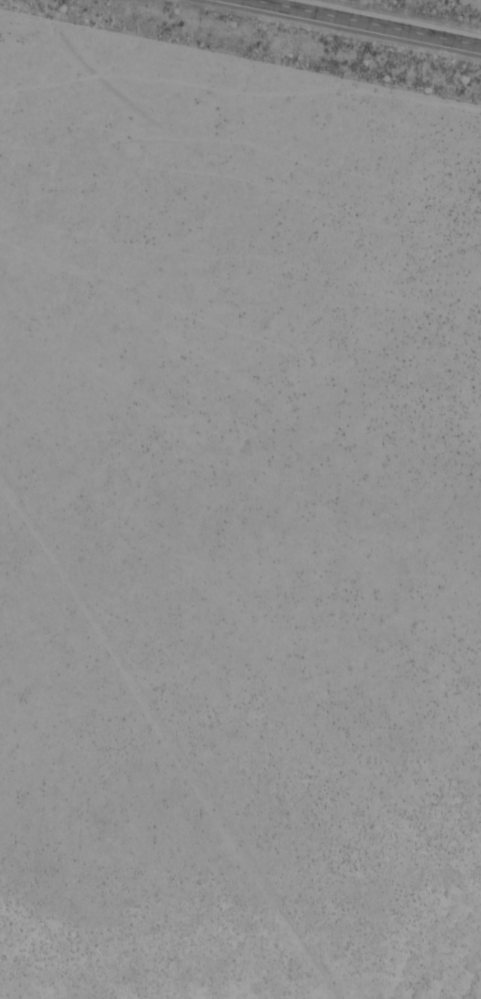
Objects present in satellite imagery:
road: (364, 23)

